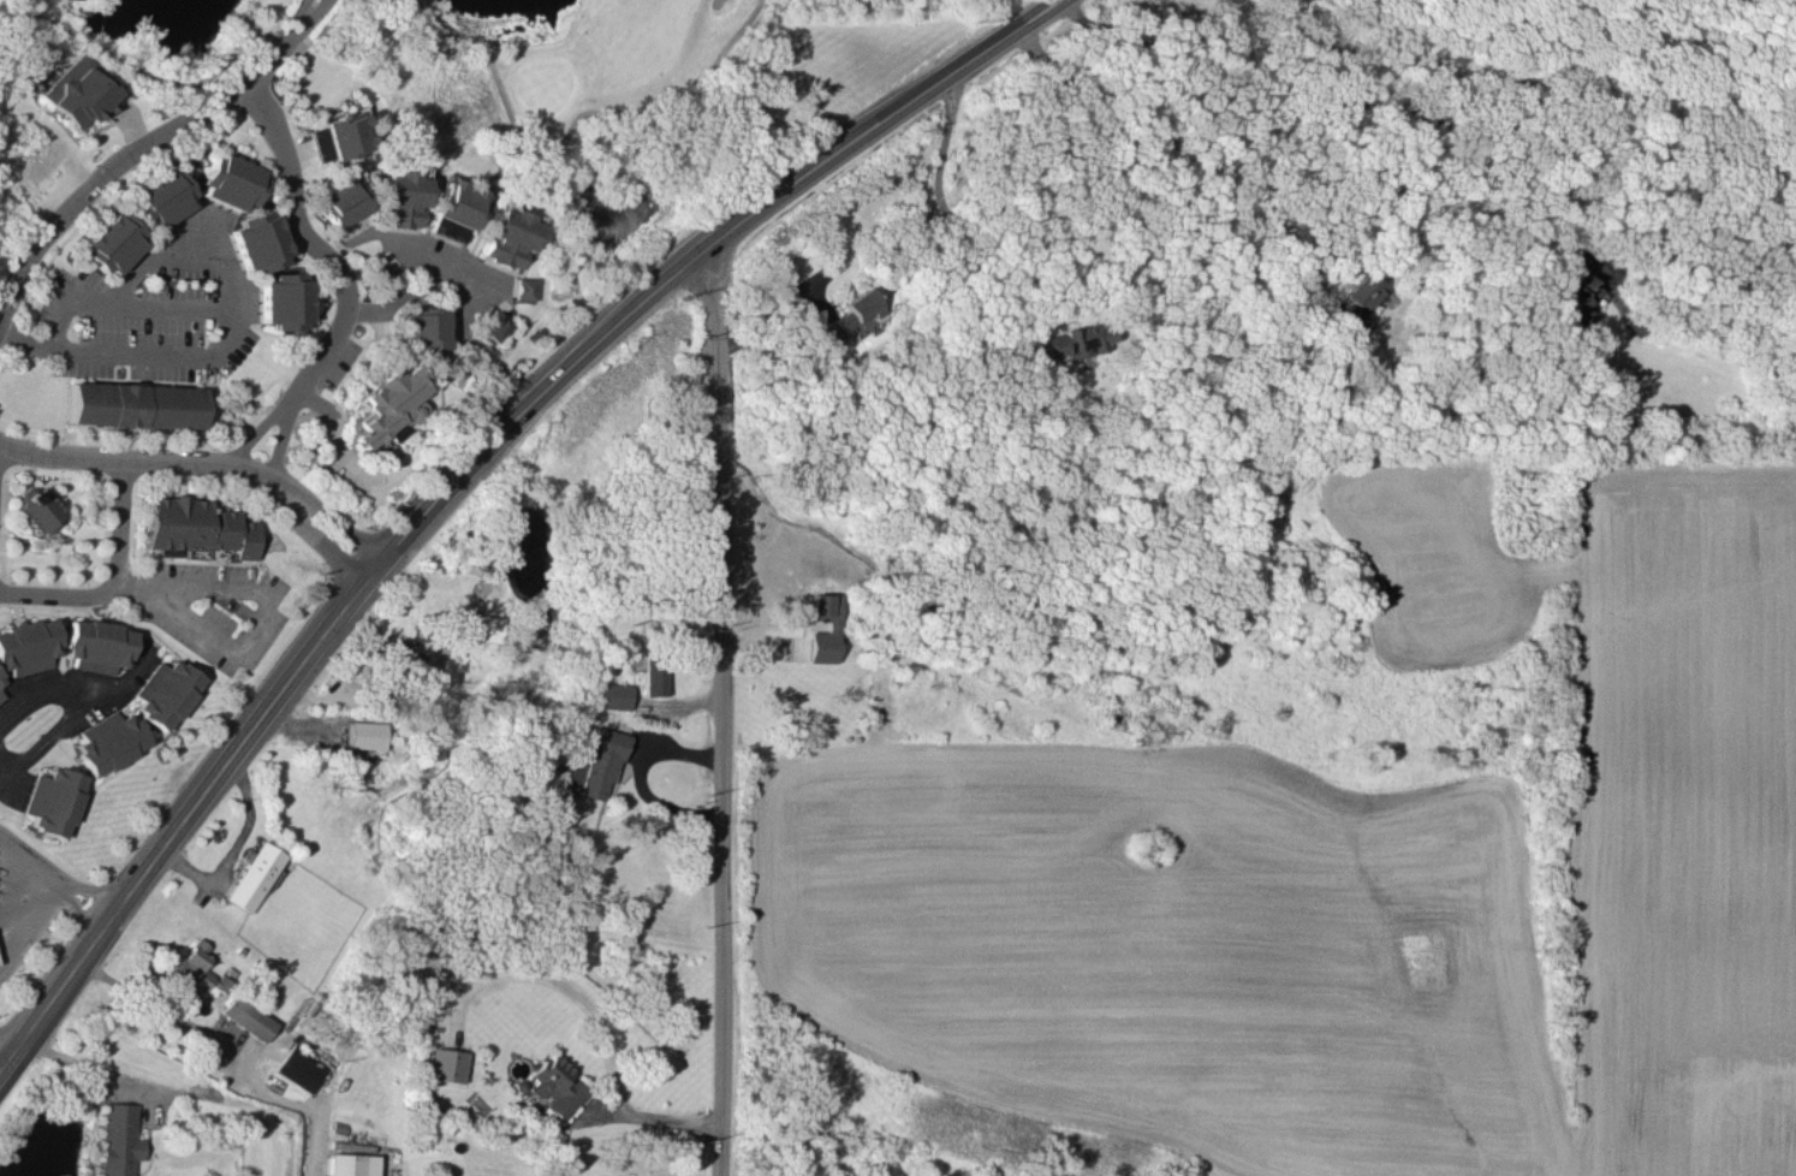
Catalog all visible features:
road: (320, 24)
road: (287, 48)
road: (142, 70)
building: (81, 91)
road: (1345, 101)
road: (575, 118)
building: (345, 133)
building: (317, 142)
road: (143, 144)
road: (1181, 145)
road: (808, 167)
building: (231, 179)
building: (163, 198)
building: (404, 198)
building: (340, 201)
building: (456, 209)
road: (957, 222)
building: (510, 237)
road: (310, 238)
building: (260, 239)
building: (114, 242)
road: (446, 265)
road: (233, 268)
building: (523, 287)
road: (399, 298)
building: (284, 299)
building: (1360, 303)
building: (854, 313)
building: (495, 325)
building: (424, 326)
road: (23, 335)
building: (1080, 338)
building: (388, 403)
building: (132, 404)
road: (261, 424)
road: (283, 434)
road: (203, 461)
building: (36, 509)
building: (197, 525)
road: (112, 577)
road: (141, 583)
road: (254, 619)
building: (829, 624)
building: (482, 625)
building: (96, 645)
building: (26, 646)
building: (403, 654)
building: (652, 675)
building: (0, 678)
building: (166, 691)
road: (73, 693)
building: (0, 695)
building: (609, 695)
road: (272, 697)
road: (715, 702)
building: (364, 733)
road: (46, 740)
building: (108, 741)
building: (601, 760)
building: (575, 773)
building: (53, 800)
road: (236, 847)
building: (254, 875)
road: (54, 877)
road: (25, 897)
building: (192, 963)
building: (218, 982)
building: (246, 1016)
road: (225, 1045)
building: (444, 1063)
road: (78, 1065)
building: (298, 1068)
building: (555, 1086)
road: (649, 1116)
building: (117, 1139)
building: (347, 1164)

